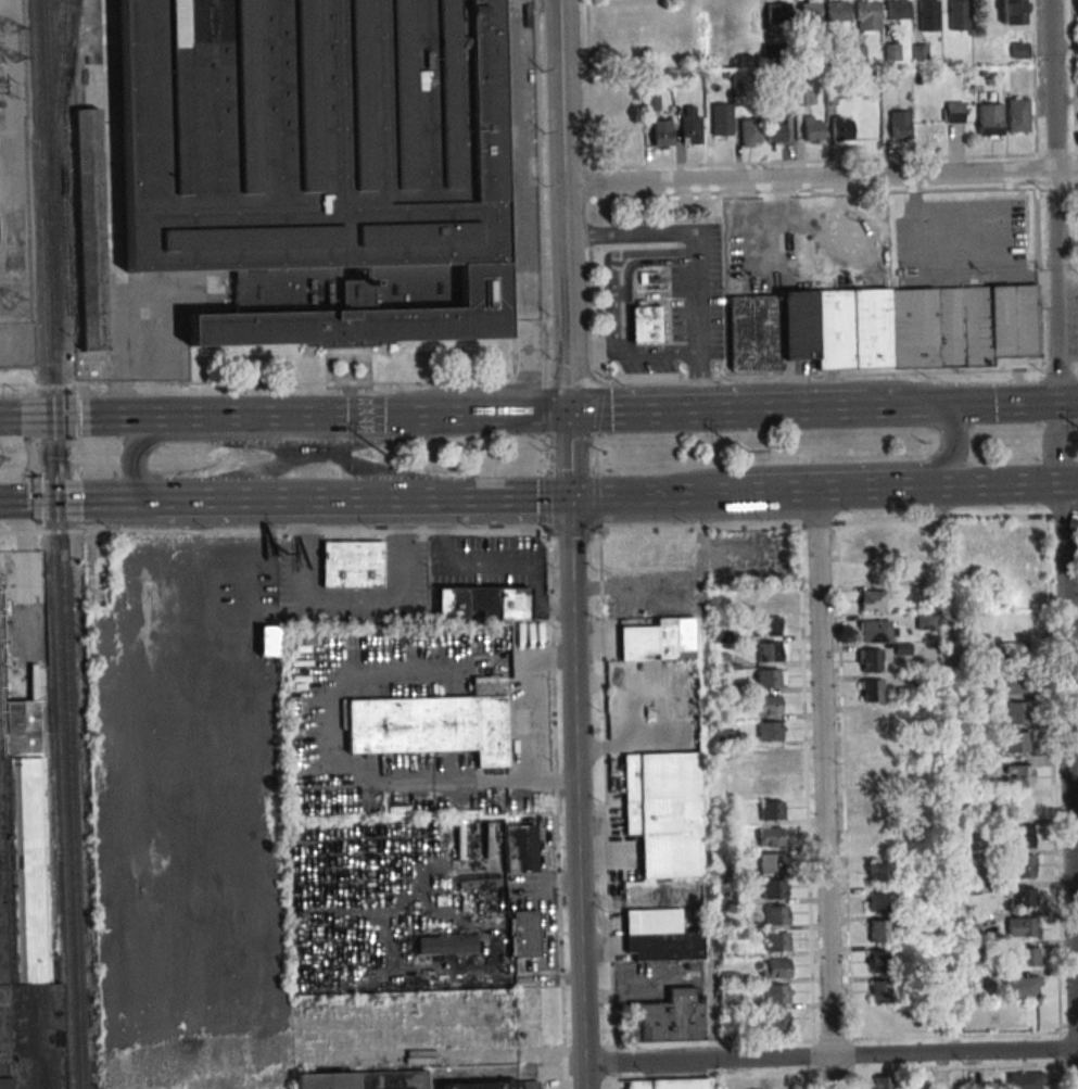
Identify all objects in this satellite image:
building: (898, 10)
building: (1077, 11)
railway: (63, 12)
building: (838, 12)
building: (776, 13)
building: (867, 15)
building: (928, 15)
building: (959, 15)
building: (1014, 15)
building: (1019, 50)
building: (890, 51)
railway: (58, 89)
building: (806, 97)
building: (953, 112)
building: (1018, 114)
building: (721, 118)
building: (990, 119)
building: (688, 125)
building: (897, 126)
building: (813, 129)
building: (841, 130)
building: (776, 131)
building: (749, 132)
building: (661, 134)
building: (322, 166)
road: (822, 177)
power substation: (15, 195)
road: (1056, 201)
road: (567, 206)
road: (527, 210)
building: (90, 229)
railway: (41, 250)
road: (1067, 276)
power tower: (9, 303)
building: (646, 325)
building: (882, 328)
road: (538, 382)
road: (975, 404)
traffic signals: (938, 406)
road: (778, 410)
road: (626, 413)
traffic signals: (569, 414)
road: (477, 415)
road: (215, 416)
road: (24, 418)
road: (271, 438)
road: (1052, 445)
road: (13, 452)
power tower: (743, 452)
road: (570, 455)
power tower: (384, 457)
road: (829, 467)
road: (995, 484)
road: (823, 490)
road: (651, 495)
traffic signals: (571, 496)
road: (369, 497)
road: (84, 498)
road: (538, 529)
building: (870, 541)
railway: (63, 544)
building: (924, 544)
building: (651, 550)
road: (492, 560)
building: (351, 565)
building: (924, 570)
road: (572, 597)
building: (872, 599)
building: (768, 600)
building: (482, 604)
building: (926, 622)
building: (769, 625)
building: (875, 631)
building: (659, 641)
building: (771, 651)
building: (1013, 651)
building: (868, 659)
building: (770, 679)
building: (1014, 683)
building: (872, 691)
road: (531, 696)
building: (769, 705)
building: (1017, 712)
building: (875, 721)
building: (434, 723)
building: (770, 731)
building: (1016, 742)
building: (873, 752)
building: (773, 757)
road: (329, 773)
building: (1022, 775)
road: (555, 780)
building: (875, 781)
building: (771, 784)
road: (1068, 785)
road: (823, 789)
railway: (62, 794)
building: (771, 810)
building: (873, 811)
building: (664, 812)
building: (1024, 836)
building: (770, 837)
building: (521, 843)
building: (773, 862)
building: (1024, 865)
building: (879, 871)
building: (774, 889)
road: (579, 894)
building: (1019, 897)
building: (880, 901)
building: (24, 911)
building: (776, 915)
building: (1023, 926)
building: (880, 929)
building: (524, 934)
building: (660, 936)
building: (777, 941)
building: (446, 945)
building: (972, 952)
building: (1026, 957)
building: (878, 961)
building: (775, 968)
building: (1022, 985)
building: (878, 991)
building: (776, 993)
building: (728, 995)
building: (670, 1017)
building: (776, 1021)
road: (830, 1056)
building: (362, 1077)
building: (1024, 1080)
building: (493, 1082)
building: (667, 1084)
building: (777, 1084)
building: (2, 1085)
building: (883, 1085)

